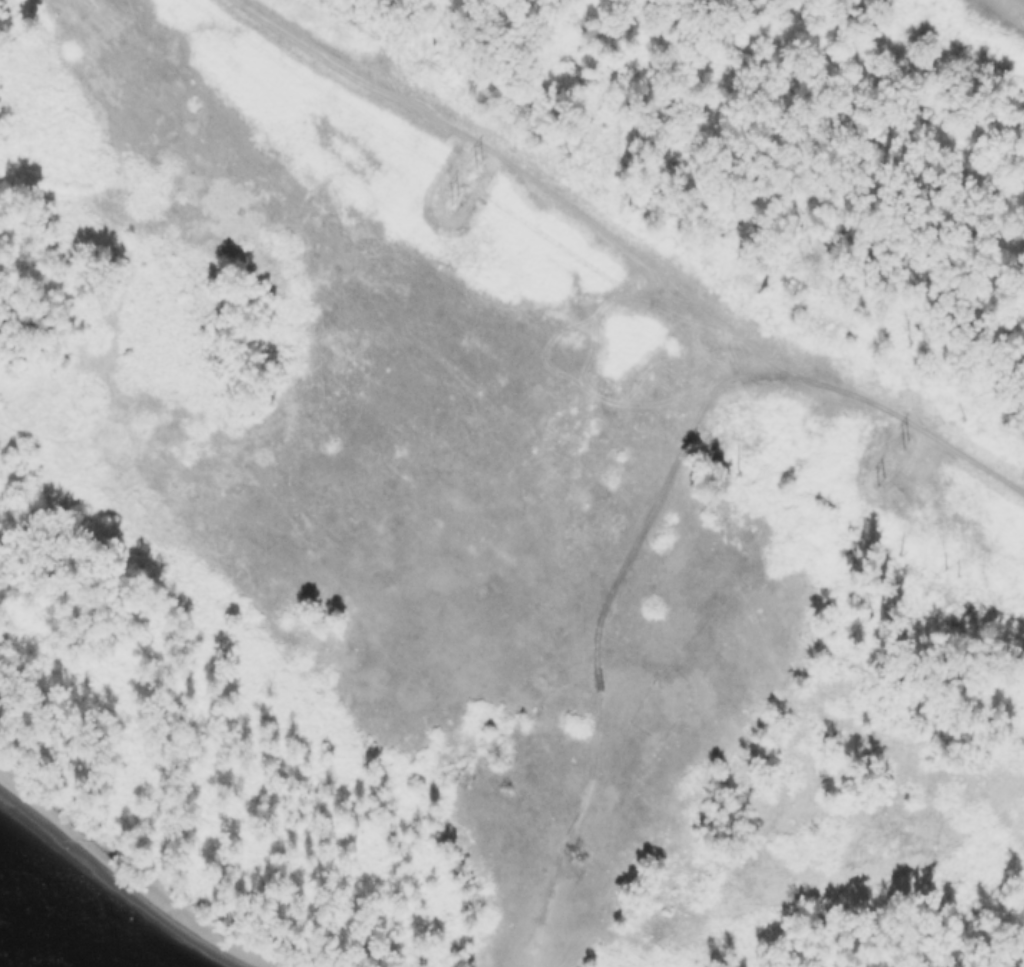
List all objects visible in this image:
road: (543, 188)
road: (932, 435)
road: (600, 605)

